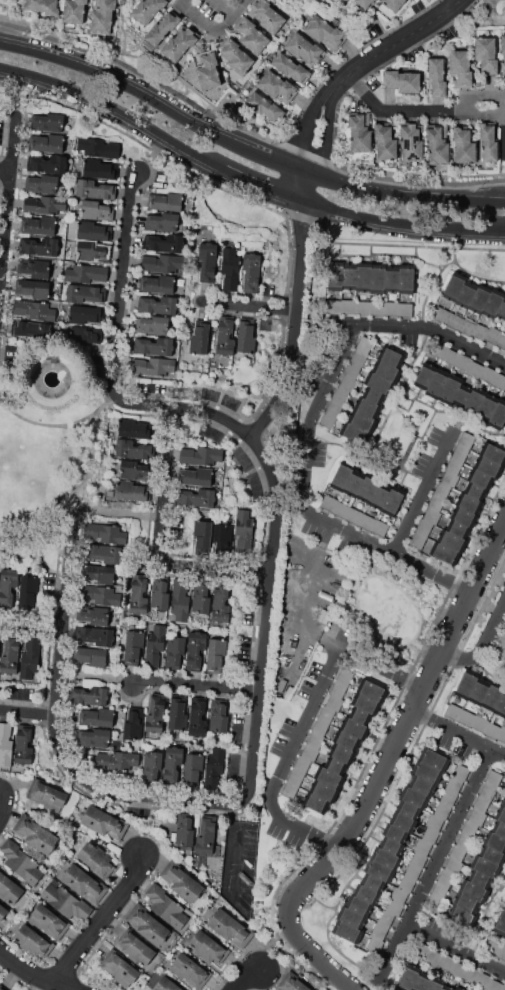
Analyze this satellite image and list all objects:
road: (461, 0)
building: (364, 3)
building: (394, 4)
building: (43, 6)
building: (148, 9)
building: (73, 13)
road: (209, 14)
building: (102, 16)
building: (267, 16)
building: (163, 27)
building: (325, 32)
road: (122, 33)
building: (251, 36)
building: (180, 42)
building: (304, 49)
building: (503, 50)
building: (486, 55)
building: (236, 56)
building: (291, 67)
building: (460, 68)
building: (208, 70)
road: (350, 75)
building: (437, 77)
building: (402, 81)
building: (277, 86)
building: (262, 105)
road: (116, 107)
road: (420, 110)
building: (47, 122)
road: (245, 128)
building: (359, 131)
building: (385, 141)
building: (411, 141)
building: (46, 142)
building: (488, 142)
building: (438, 144)
road: (244, 145)
building: (464, 145)
building: (98, 147)
building: (47, 163)
building: (99, 169)
road: (7, 170)
building: (42, 183)
road: (263, 184)
building: (94, 189)
building: (165, 201)
building: (44, 204)
building: (96, 210)
road: (10, 216)
building: (162, 221)
road: (402, 222)
building: (39, 225)
building: (93, 231)
building: (163, 242)
building: (41, 246)
building: (92, 251)
building: (207, 261)
building: (163, 263)
building: (33, 267)
building: (230, 268)
building: (252, 271)
building: (86, 273)
building: (335, 277)
building: (349, 278)
building: (363, 278)
building: (378, 280)
building: (392, 281)
building: (406, 281)
road: (124, 283)
building: (157, 284)
building: (454, 286)
building: (32, 288)
building: (85, 293)
building: (466, 294)
building: (479, 298)
building: (493, 303)
building: (159, 304)
building: (334, 306)
building: (348, 306)
road: (253, 307)
building: (363, 307)
building: (391, 307)
building: (376, 308)
building: (34, 309)
building: (405, 309)
building: (502, 311)
building: (84, 314)
building: (441, 314)
building: (453, 320)
road: (346, 322)
building: (152, 324)
road: (297, 324)
building: (466, 326)
building: (31, 328)
road: (436, 330)
building: (479, 331)
building: (86, 334)
building: (493, 334)
building: (225, 336)
building: (244, 336)
building: (200, 337)
building: (501, 341)
building: (365, 344)
building: (154, 345)
building: (438, 349)
building: (359, 356)
building: (391, 356)
building: (450, 356)
building: (463, 362)
building: (153, 366)
building: (352, 369)
building: (387, 370)
building: (475, 370)
building: (488, 374)
building: (425, 376)
building: (499, 381)
building: (348, 382)
building: (379, 383)
building: (437, 383)
building: (450, 388)
building: (504, 389)
building: (340, 394)
building: (373, 395)
building: (462, 395)
building: (474, 401)
building: (335, 407)
building: (367, 407)
building: (487, 407)
building: (498, 415)
building: (327, 420)
building: (362, 420)
road: (59, 425)
building: (135, 429)
building: (352, 432)
building: (467, 440)
building: (133, 449)
building: (460, 452)
building: (493, 453)
building: (200, 455)
building: (454, 465)
building: (489, 467)
building: (135, 470)
building: (197, 476)
building: (341, 478)
building: (480, 478)
building: (450, 479)
road: (167, 482)
road: (85, 485)
building: (353, 485)
building: (367, 489)
building: (442, 490)
building: (132, 491)
road: (423, 491)
building: (475, 491)
building: (197, 497)
building: (379, 498)
road: (304, 500)
building: (392, 502)
building: (329, 503)
building: (436, 503)
building: (469, 503)
building: (341, 509)
road: (121, 513)
building: (432, 515)
building: (354, 516)
building: (464, 516)
building: (367, 522)
building: (424, 527)
building: (380, 528)
building: (243, 529)
building: (458, 529)
building: (106, 533)
building: (202, 535)
building: (222, 535)
building: (418, 540)
building: (451, 540)
road: (277, 544)
building: (104, 553)
building: (444, 553)
road: (218, 569)
building: (99, 573)
building: (8, 587)
building: (28, 591)
building: (101, 595)
building: (138, 595)
building: (160, 596)
building: (180, 599)
building: (201, 599)
building: (221, 604)
building: (96, 615)
building: (324, 615)
road: (33, 623)
building: (504, 627)
building: (95, 635)
building: (502, 637)
road: (332, 643)
road: (483, 644)
building: (155, 645)
building: (133, 647)
building: (195, 650)
building: (498, 650)
building: (174, 651)
building: (215, 654)
building: (10, 655)
building: (91, 656)
building: (30, 657)
road: (382, 667)
building: (344, 677)
road: (199, 683)
building: (467, 683)
building: (338, 689)
building: (372, 690)
building: (479, 691)
building: (90, 695)
building: (492, 695)
building: (334, 702)
building: (366, 703)
building: (500, 705)
building: (453, 711)
road: (28, 712)
building: (155, 713)
building: (177, 714)
building: (326, 714)
building: (360, 715)
building: (219, 716)
building: (97, 717)
building: (197, 717)
building: (466, 717)
road: (304, 722)
building: (479, 723)
building: (133, 724)
building: (320, 727)
building: (354, 728)
building: (492, 730)
road: (58, 731)
road: (458, 731)
building: (501, 734)
road: (399, 735)
building: (93, 737)
building: (315, 740)
building: (346, 740)
building: (23, 744)
building: (5, 745)
building: (310, 753)
building: (342, 753)
building: (434, 758)
building: (118, 760)
building: (151, 764)
building: (172, 764)
building: (302, 764)
building: (335, 765)
building: (193, 768)
building: (214, 769)
building: (427, 772)
building: (461, 772)
building: (296, 777)
building: (329, 777)
building: (493, 778)
building: (453, 784)
building: (421, 785)
building: (289, 790)
building: (323, 790)
building: (488, 791)
building: (46, 794)
building: (414, 797)
building: (448, 798)
building: (315, 802)
building: (481, 803)
building: (503, 803)
building: (408, 809)
building: (442, 810)
building: (500, 814)
building: (477, 817)
building: (402, 821)
building: (104, 822)
building: (434, 822)
road: (298, 827)
building: (469, 828)
building: (499, 828)
building: (185, 832)
building: (394, 833)
building: (36, 834)
building: (206, 835)
building: (430, 835)
building: (464, 840)
building: (495, 841)
building: (391, 845)
building: (422, 846)
road: (233, 848)
building: (457, 852)
building: (492, 854)
building: (385, 858)
building: (96, 859)
building: (418, 859)
road: (435, 860)
building: (21, 861)
building: (454, 866)
building: (486, 866)
building: (379, 871)
building: (413, 871)
building: (446, 878)
building: (480, 879)
building: (182, 882)
building: (372, 882)
building: (84, 883)
building: (406, 884)
building: (8, 888)
building: (439, 890)
building: (472, 890)
building: (366, 893)
building: (398, 895)
building: (65, 902)
building: (434, 903)
building: (466, 903)
building: (358, 905)
building: (166, 906)
building: (394, 907)
building: (2, 912)
building: (461, 916)
building: (351, 917)
building: (385, 919)
road: (102, 920)
building: (49, 921)
building: (501, 923)
building: (147, 924)
building: (230, 927)
building: (347, 931)
building: (379, 931)
building: (33, 942)
road: (269, 943)
building: (374, 944)
road: (455, 946)
building: (135, 948)
building: (209, 948)
building: (492, 948)
building: (421, 950)
building: (501, 952)
building: (433, 957)
building: (446, 961)
road: (327, 964)
building: (119, 968)
building: (457, 969)
building: (190, 970)
road: (33, 973)
building: (470, 973)
building: (408, 977)
road: (244, 979)
building: (483, 980)
building: (421, 981)
building: (293, 983)
building: (434, 983)
building: (167, 984)
building: (495, 985)
building: (503, 987)
building: (2, 988)
building: (446, 988)
building: (459, 988)

